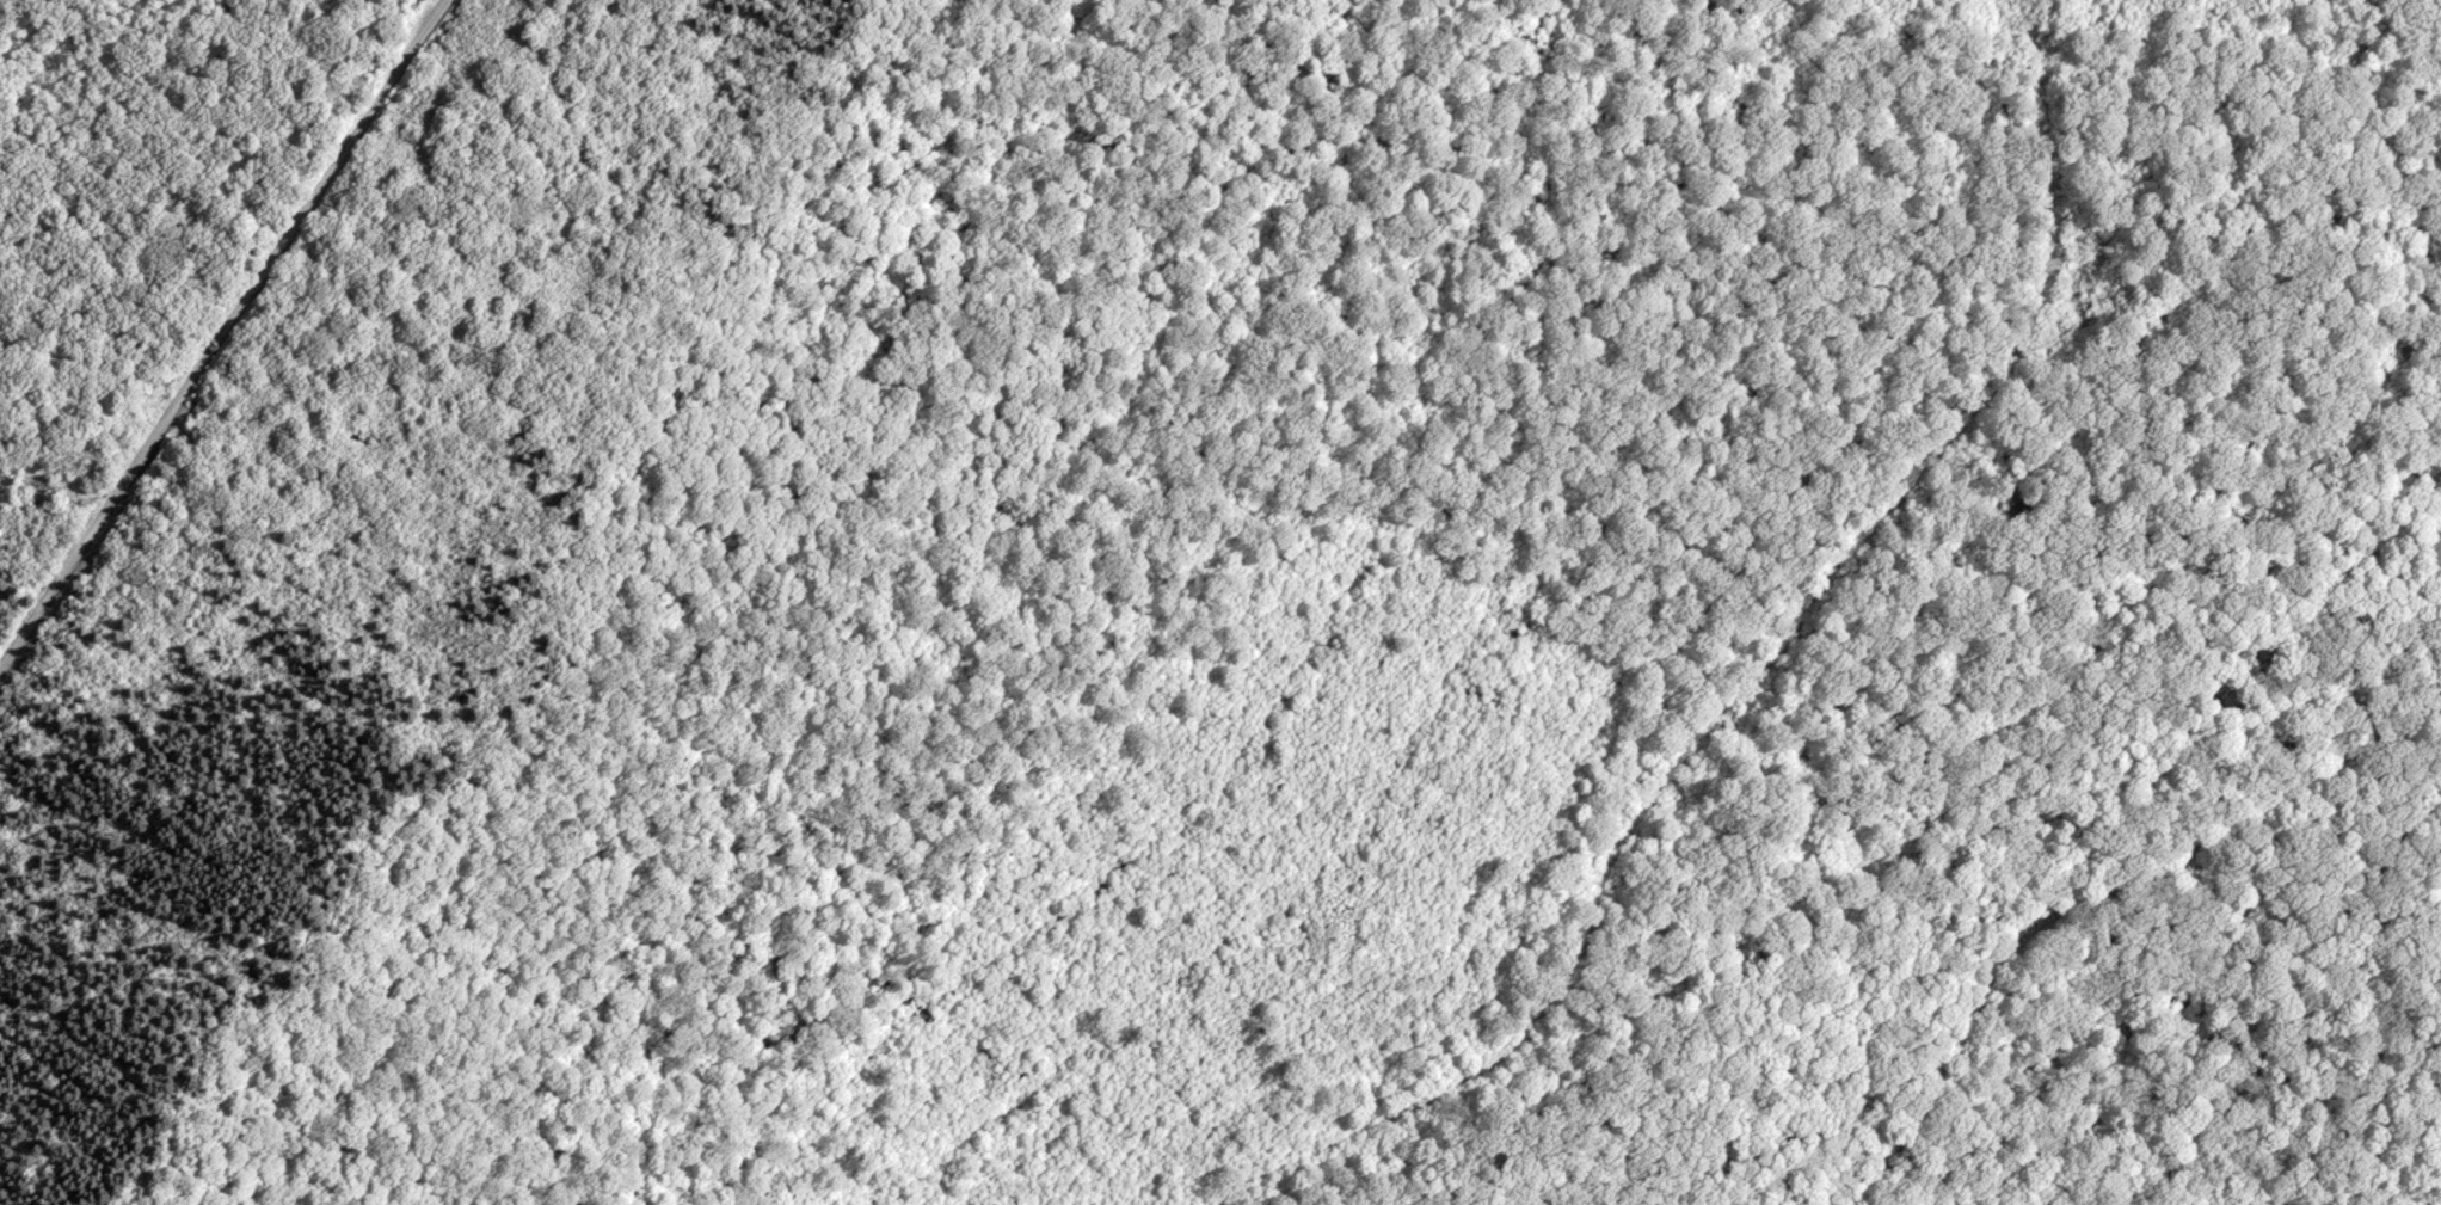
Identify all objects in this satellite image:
road: (223, 336)

